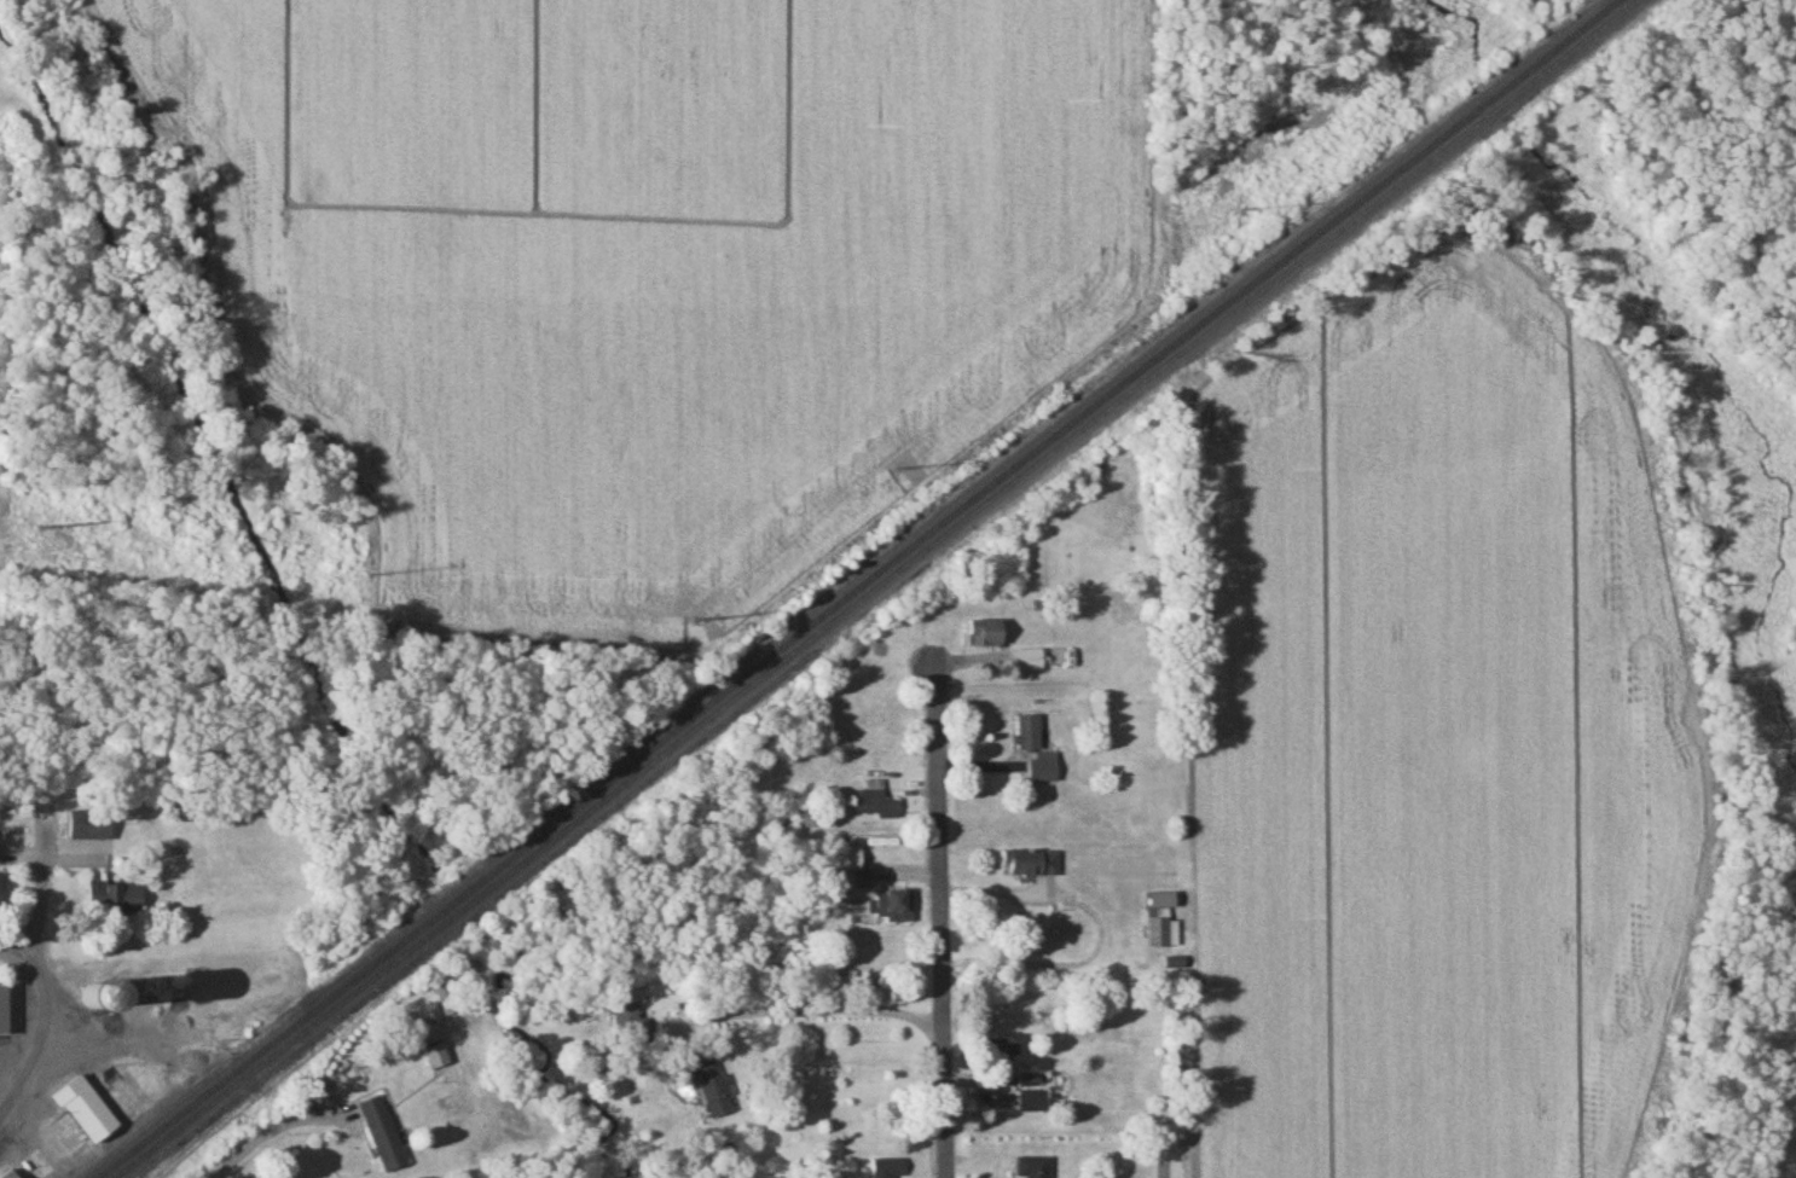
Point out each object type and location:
railway: (876, 588)
railway: (862, 590)
building: (986, 636)
building: (1029, 662)
building: (1037, 750)
building: (876, 803)
building: (807, 822)
building: (97, 831)
building: (853, 864)
building: (1033, 865)
building: (4, 890)
building: (117, 900)
building: (891, 906)
road: (939, 910)
building: (1160, 932)
road: (21, 941)
road: (40, 959)
building: (1175, 965)
building: (102, 997)
building: (445, 1002)
road: (824, 1002)
building: (6, 1011)
building: (625, 1023)
building: (439, 1057)
building: (714, 1091)
building: (1033, 1103)
building: (88, 1112)
road: (8, 1115)
road: (271, 1130)
building: (384, 1136)
building: (1033, 1168)
building: (888, 1170)
building: (16, 1174)

